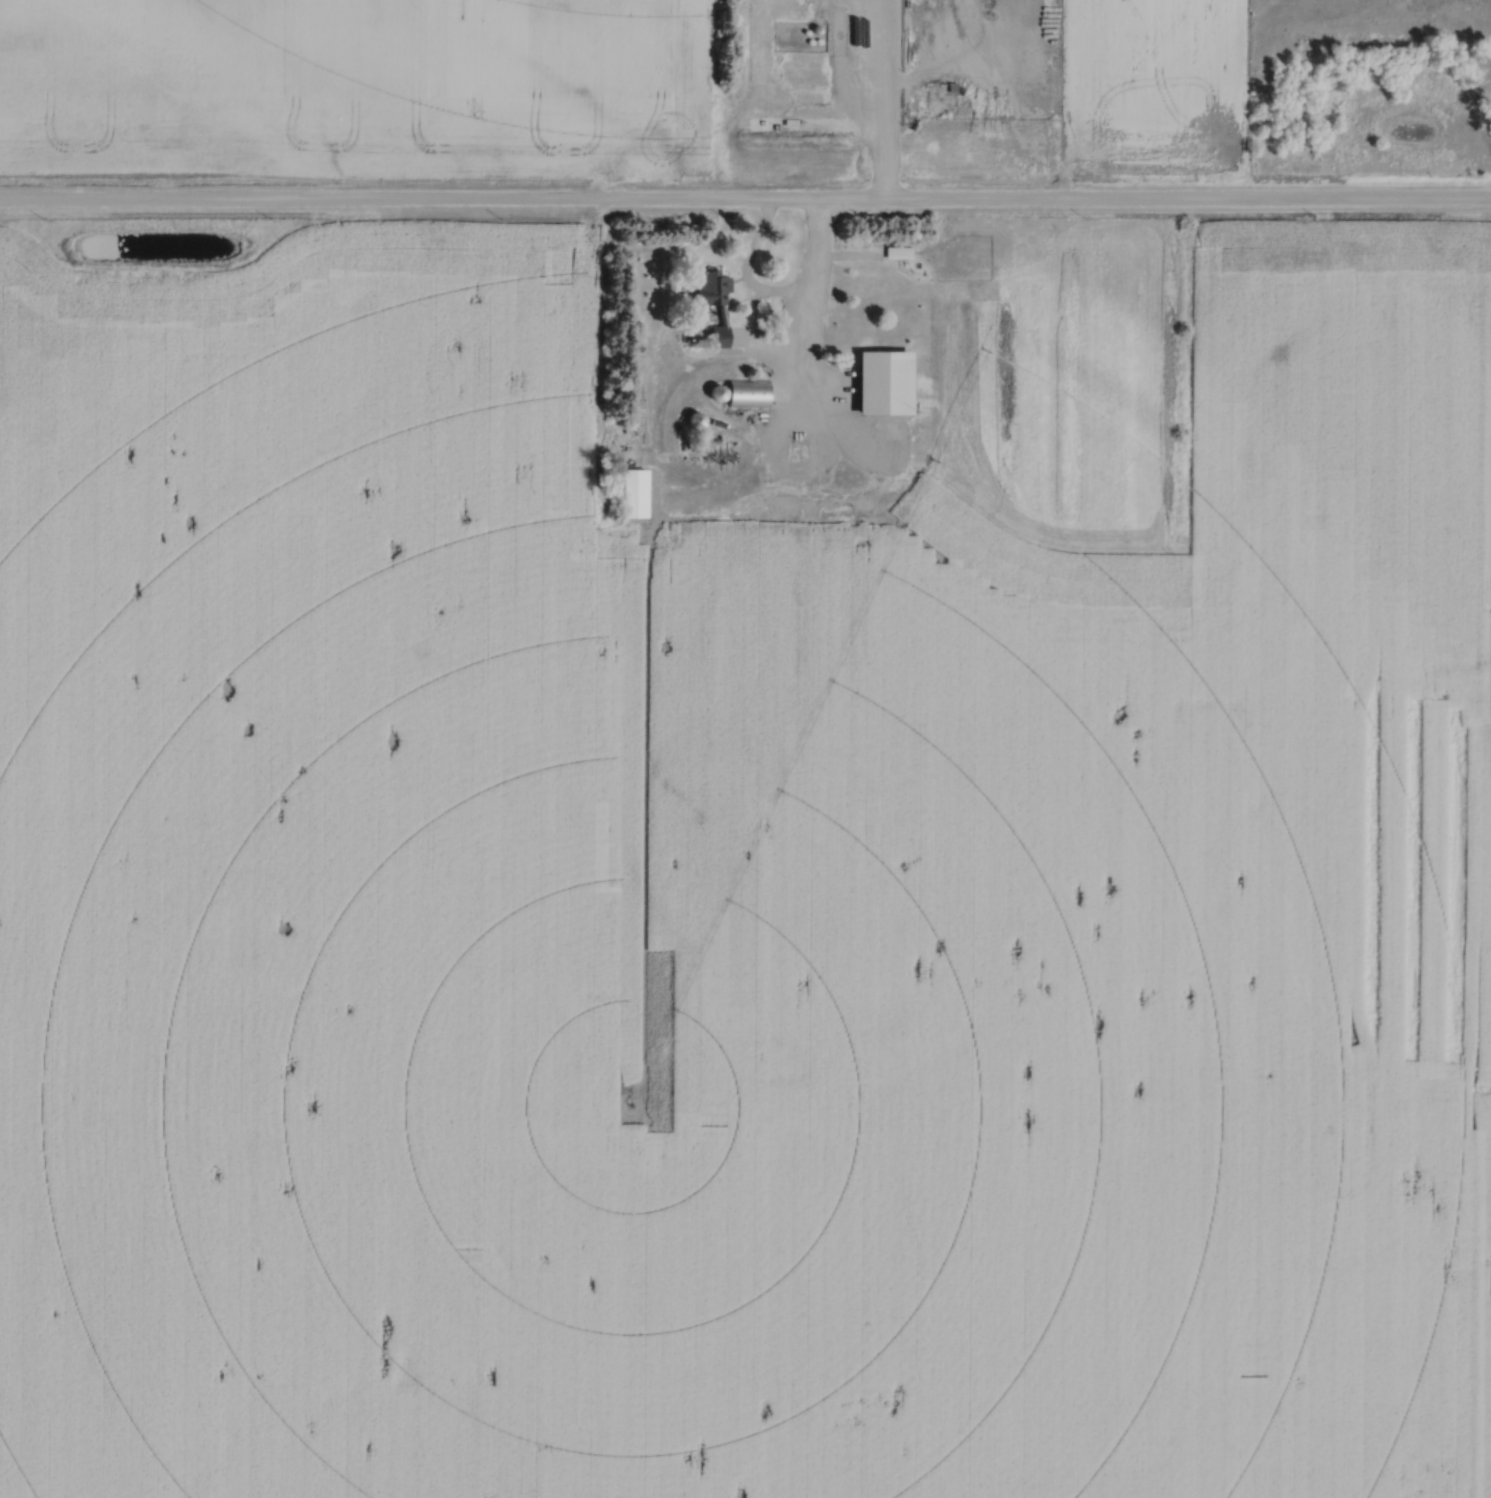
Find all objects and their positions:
building: (813, 6)
road: (878, 100)
road: (745, 201)
building: (897, 253)
road: (776, 296)
building: (713, 309)
building: (880, 384)
building: (738, 395)
building: (631, 494)

